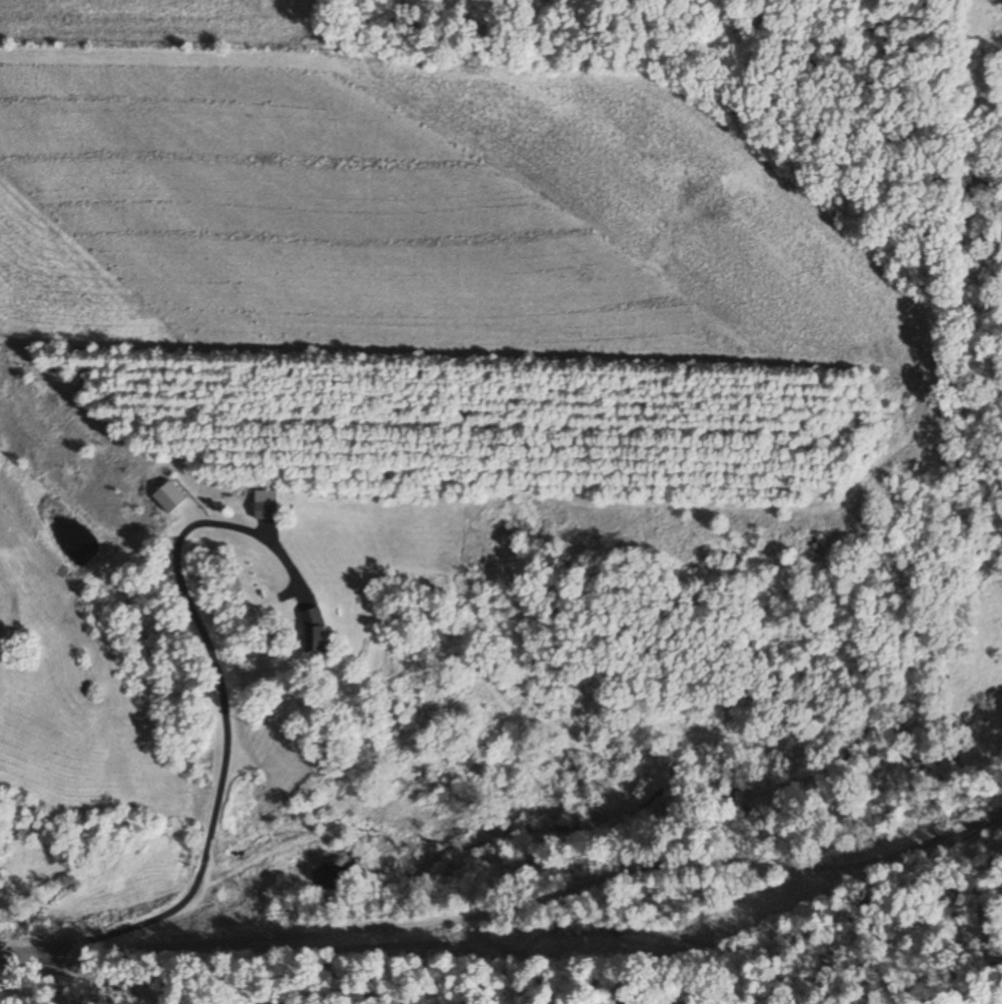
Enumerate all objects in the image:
building: (170, 498)
building: (266, 504)
building: (316, 632)
road: (223, 695)
road: (509, 911)
road: (116, 981)

